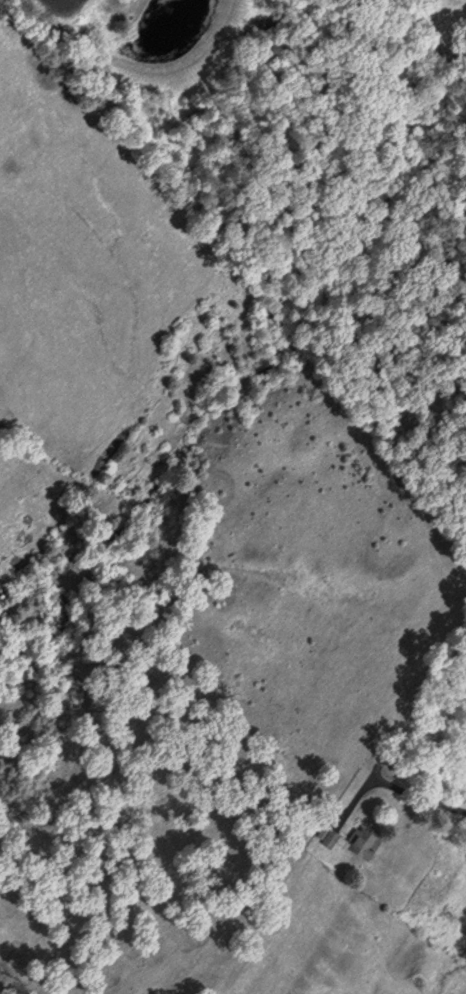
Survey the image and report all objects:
road: (417, 798)
building: (352, 840)

